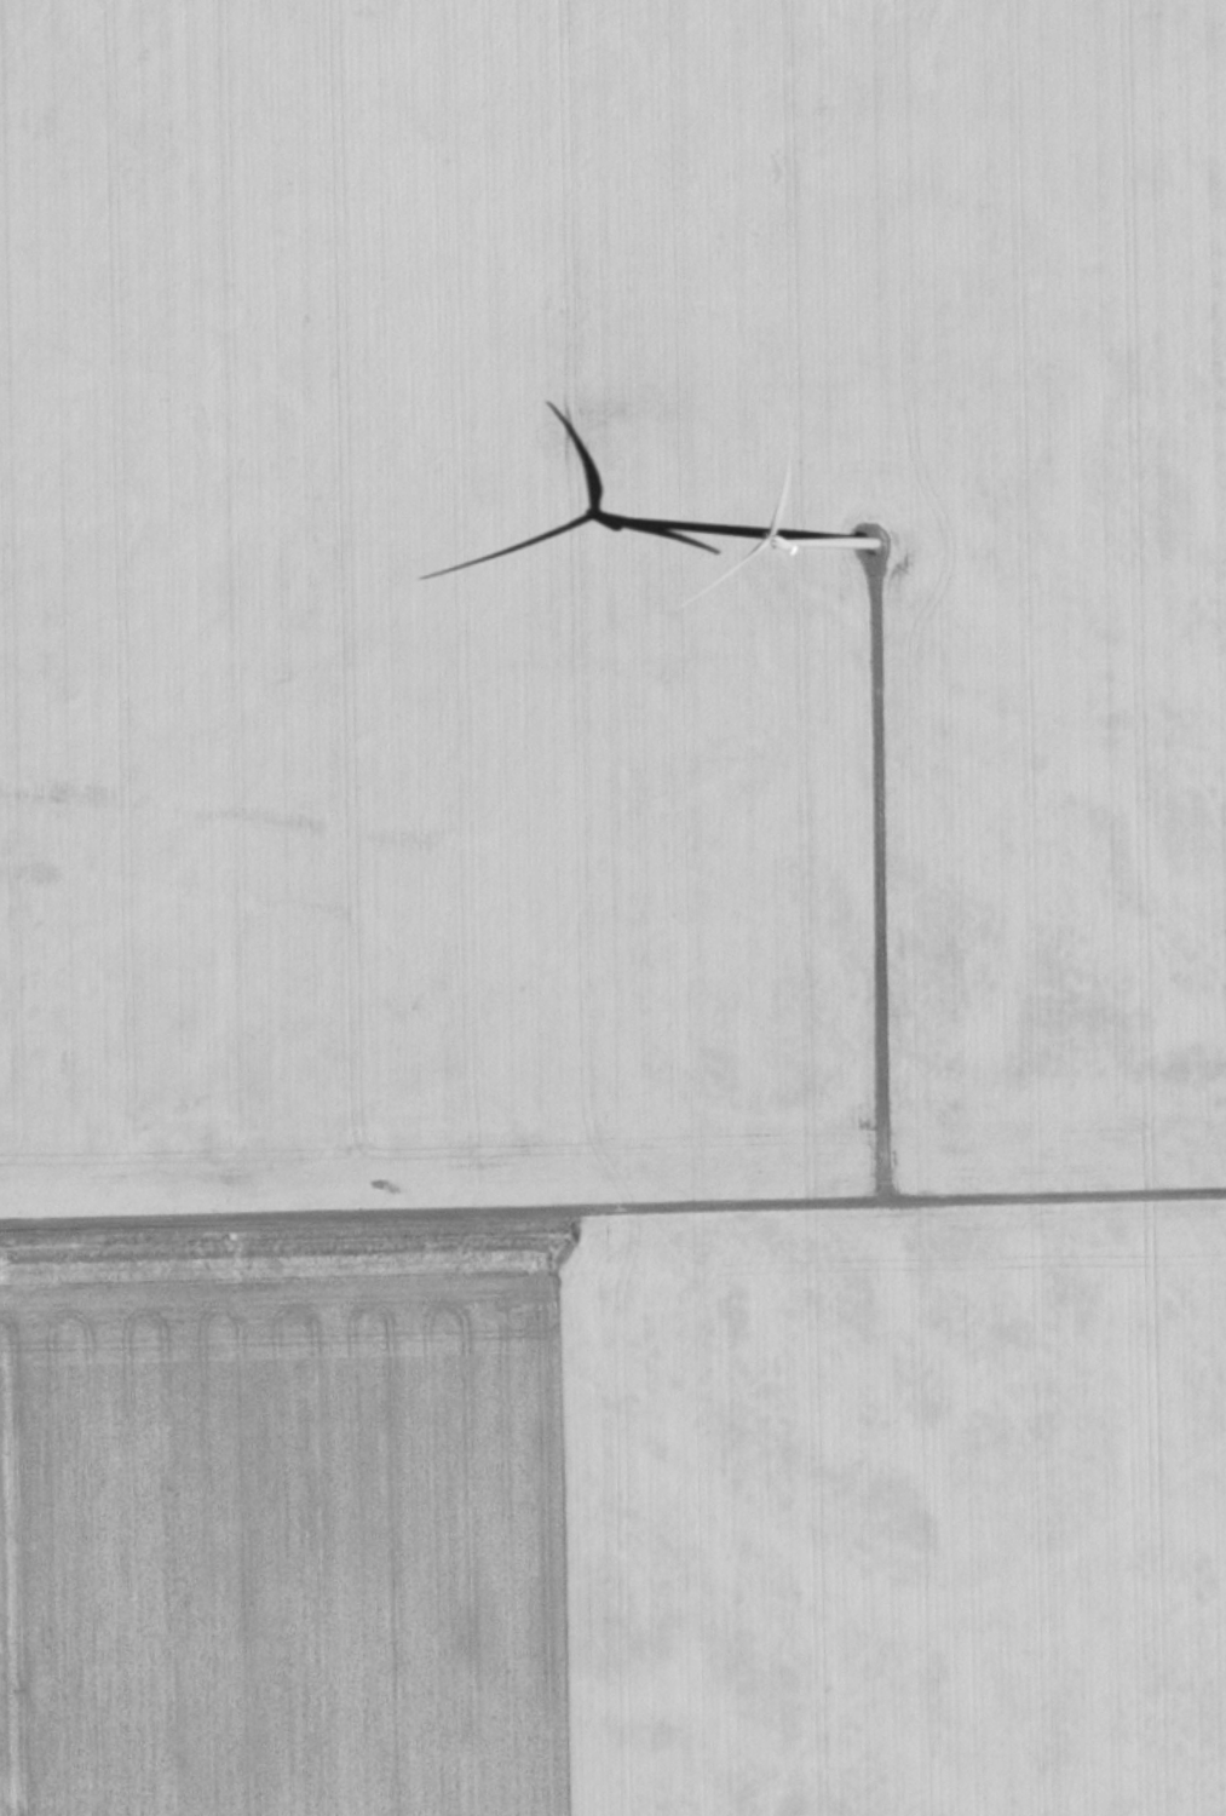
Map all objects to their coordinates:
wind turbine: (873, 541)
road: (873, 893)
road: (612, 1193)

